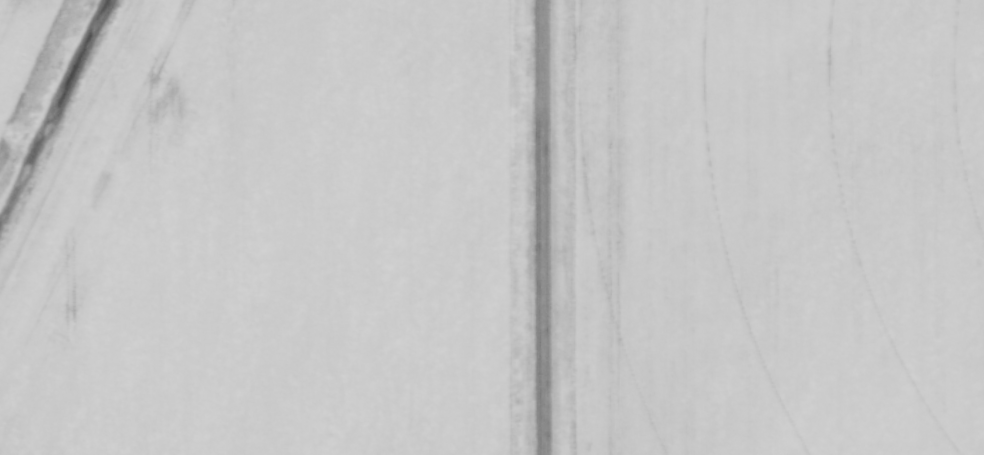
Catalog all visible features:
road: (540, 227)
crop: (780, 227)

